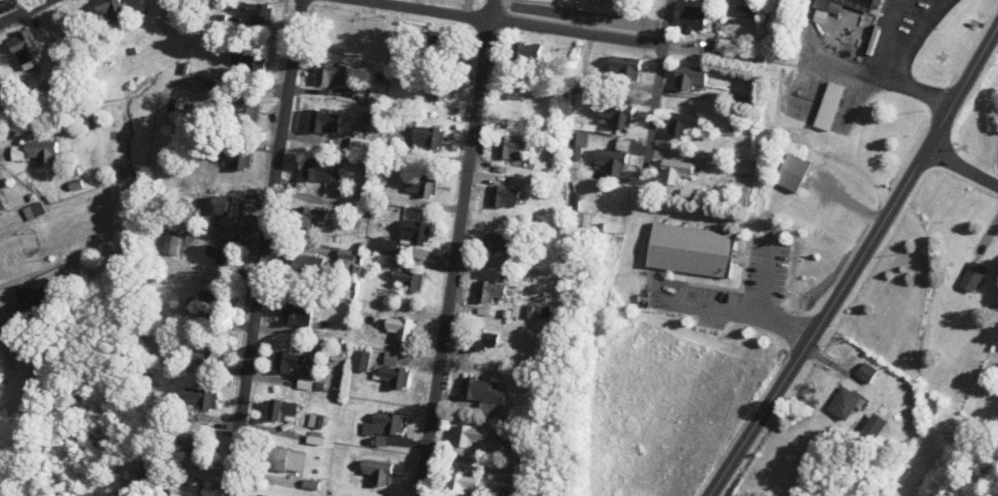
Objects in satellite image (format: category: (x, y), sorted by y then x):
building: (869, 1)
building: (828, 5)
road: (466, 7)
road: (938, 7)
building: (107, 10)
road: (23, 11)
building: (253, 11)
building: (744, 11)
road: (571, 14)
building: (692, 18)
road: (516, 21)
road: (256, 25)
road: (923, 28)
road: (883, 38)
road: (686, 41)
building: (23, 48)
building: (526, 50)
building: (396, 52)
road: (729, 56)
road: (461, 57)
road: (808, 59)
building: (241, 60)
building: (622, 65)
road: (855, 72)
building: (330, 73)
road: (658, 74)
building: (687, 79)
road: (262, 83)
road: (322, 91)
road: (656, 94)
building: (830, 105)
road: (456, 110)
building: (684, 115)
building: (617, 116)
road: (653, 116)
building: (322, 122)
building: (680, 126)
building: (426, 135)
road: (299, 137)
building: (575, 147)
road: (266, 148)
building: (509, 148)
building: (40, 151)
building: (15, 152)
road: (3, 154)
building: (611, 157)
building: (234, 158)
road: (444, 158)
road: (479, 159)
road: (989, 161)
road: (647, 163)
road: (961, 165)
building: (680, 167)
building: (317, 170)
building: (793, 171)
road: (493, 178)
building: (419, 185)
road: (306, 196)
building: (504, 196)
road: (434, 204)
building: (1, 206)
building: (225, 207)
building: (31, 210)
building: (312, 215)
road: (3, 221)
building: (413, 231)
building: (498, 240)
building: (383, 245)
road: (299, 246)
road: (265, 248)
road: (456, 248)
building: (692, 249)
building: (25, 254)
building: (216, 255)
road: (435, 257)
building: (342, 258)
road: (856, 261)
road: (429, 264)
building: (304, 265)
road: (764, 275)
building: (971, 276)
building: (408, 279)
building: (488, 290)
building: (29, 294)
building: (206, 300)
road: (470, 306)
road: (736, 309)
building: (294, 315)
road: (232, 321)
road: (278, 328)
building: (399, 328)
road: (1, 330)
building: (485, 339)
road: (451, 350)
building: (199, 352)
road: (821, 356)
building: (287, 360)
building: (359, 360)
road: (421, 360)
road: (452, 365)
road: (223, 369)
building: (392, 370)
building: (865, 371)
road: (269, 376)
building: (303, 382)
building: (480, 393)
building: (198, 397)
road: (446, 398)
building: (842, 402)
building: (281, 409)
road: (220, 420)
building: (315, 420)
building: (381, 426)
building: (875, 426)
road: (258, 427)
road: (225, 432)
building: (466, 435)
building: (313, 440)
road: (409, 441)
building: (192, 444)
building: (283, 460)
building: (375, 471)
road: (202, 476)
road: (264, 476)
building: (142, 478)
building: (461, 483)
building: (184, 488)
building: (258, 495)

